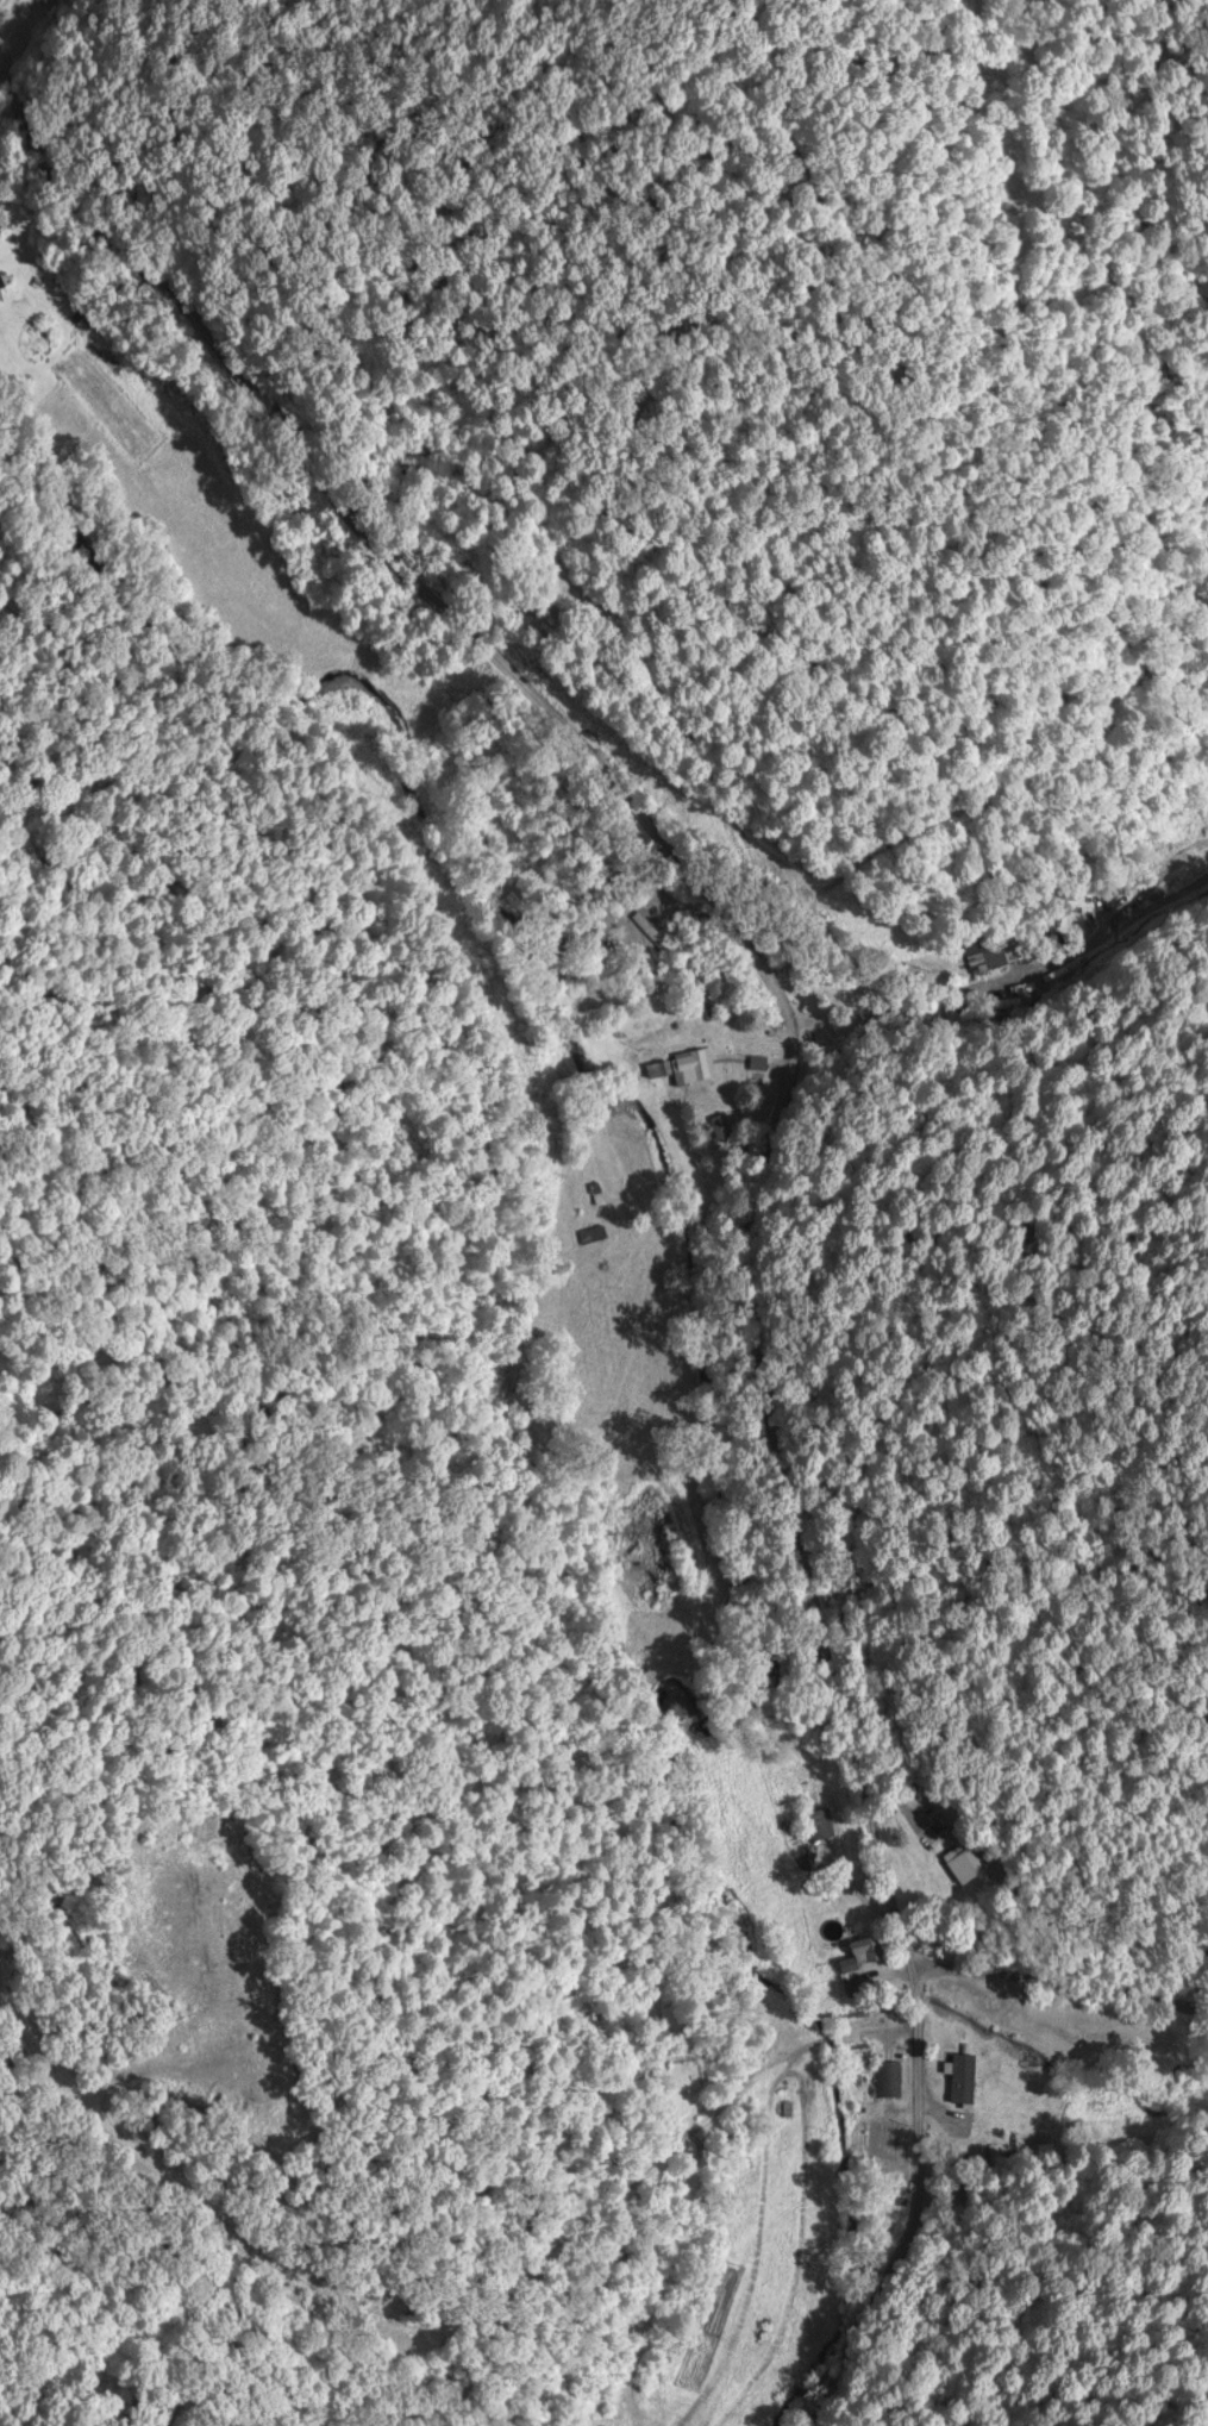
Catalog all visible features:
building: (4, 220)
building: (109, 354)
building: (1020, 948)
building: (700, 1064)
road: (780, 1111)
building: (727, 1131)
building: (822, 1824)
building: (968, 1863)
building: (869, 1951)
road: (1063, 1981)
building: (1002, 2000)
building: (962, 2055)
building: (894, 2077)
building: (970, 2100)
building: (734, 2339)

